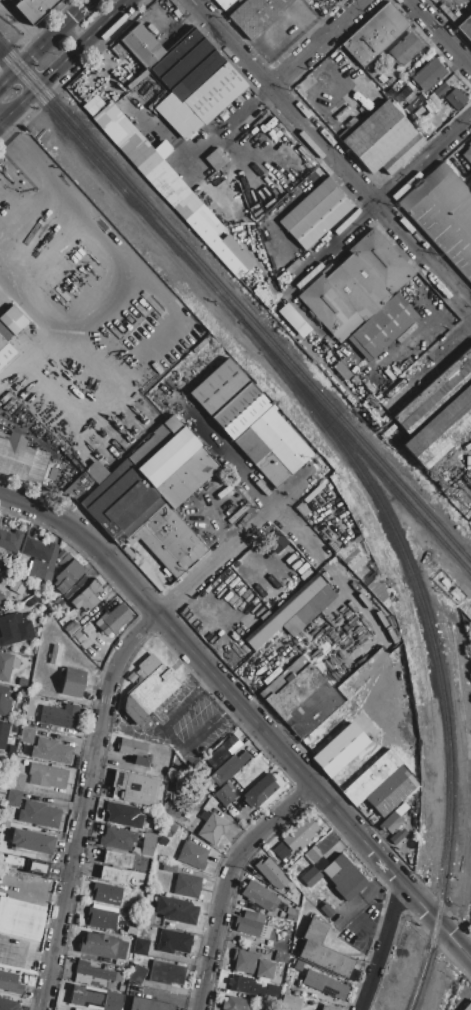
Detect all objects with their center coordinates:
building: (225, 3)
building: (34, 8)
building: (257, 14)
building: (466, 27)
road: (441, 33)
building: (375, 35)
road: (42, 42)
building: (141, 46)
building: (405, 49)
road: (62, 60)
building: (186, 65)
road: (290, 68)
building: (428, 75)
building: (441, 90)
building: (211, 96)
building: (456, 98)
building: (381, 139)
road: (332, 153)
building: (467, 153)
railway: (128, 183)
railway: (134, 203)
building: (307, 203)
road: (378, 203)
building: (444, 215)
building: (319, 219)
road: (93, 228)
building: (208, 232)
building: (356, 285)
building: (13, 320)
building: (380, 328)
road: (52, 330)
building: (4, 335)
road: (430, 365)
building: (218, 387)
building: (240, 410)
building: (438, 413)
railway: (363, 444)
building: (272, 447)
building: (23, 460)
building: (173, 462)
railway: (370, 463)
building: (96, 472)
building: (52, 474)
road: (256, 483)
building: (121, 502)
building: (302, 510)
building: (10, 540)
building: (169, 540)
building: (277, 543)
building: (41, 551)
building: (351, 559)
building: (65, 560)
building: (68, 575)
building: (42, 576)
building: (83, 583)
building: (18, 586)
building: (72, 593)
building: (0, 594)
building: (1, 597)
building: (87, 597)
building: (61, 608)
building: (293, 612)
building: (115, 619)
building: (71, 628)
building: (14, 630)
building: (55, 655)
railway: (437, 660)
building: (7, 666)
road: (207, 682)
building: (73, 683)
building: (147, 690)
building: (300, 697)
road: (109, 698)
building: (5, 703)
road: (182, 707)
road: (232, 710)
road: (246, 713)
building: (59, 715)
road: (135, 733)
building: (3, 734)
road: (205, 734)
building: (26, 735)
road: (174, 739)
building: (339, 750)
building: (54, 751)
building: (136, 752)
building: (220, 752)
building: (231, 766)
building: (48, 776)
building: (371, 777)
building: (17, 782)
building: (134, 788)
building: (392, 791)
building: (260, 792)
building: (224, 794)
building: (14, 798)
building: (39, 814)
building: (124, 815)
building: (390, 823)
building: (170, 829)
building: (213, 829)
building: (299, 834)
building: (118, 837)
building: (397, 838)
building: (162, 840)
building: (33, 841)
building: (148, 845)
building: (280, 850)
building: (194, 856)
building: (117, 859)
building: (29, 866)
building: (169, 867)
building: (271, 873)
building: (113, 876)
building: (311, 877)
building: (346, 879)
road: (230, 885)
building: (187, 886)
road: (32, 892)
building: (107, 894)
building: (259, 896)
building: (176, 910)
building: (326, 910)
road: (349, 914)
building: (250, 916)
building: (146, 917)
building: (101, 919)
building: (19, 920)
building: (247, 927)
building: (173, 942)
building: (2, 944)
building: (100, 945)
road: (381, 946)
building: (141, 947)
building: (322, 951)
building: (252, 965)
building: (15, 966)
building: (166, 973)
building: (138, 975)
building: (95, 976)
building: (10, 982)
building: (322, 983)
building: (239, 984)
building: (95, 998)
building: (290, 1003)
building: (239, 1004)
building: (9, 1005)
building: (148, 1005)
building: (468, 1006)
building: (72, 1008)
building: (327, 1008)

